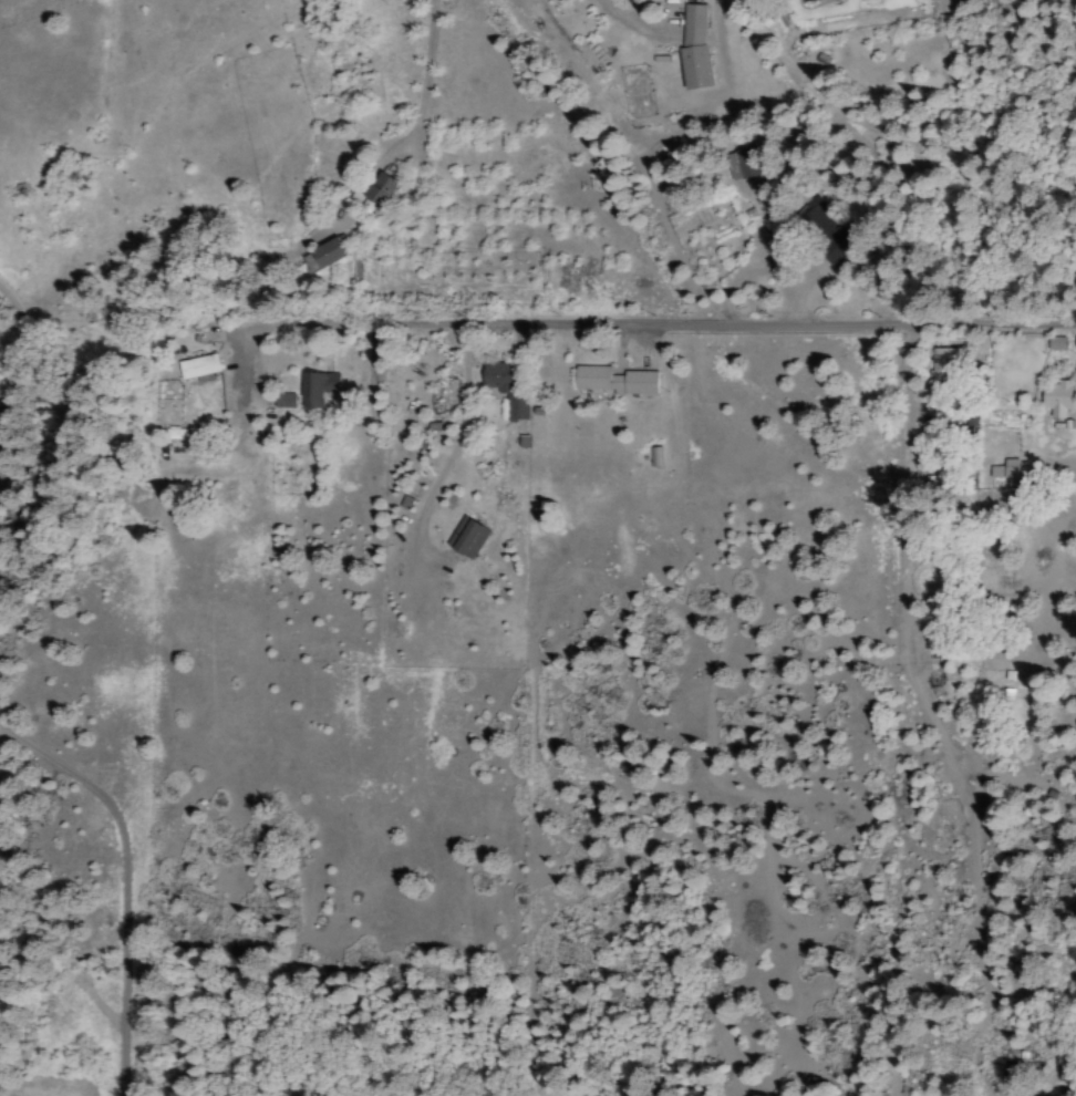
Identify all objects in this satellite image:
building: (805, 0)
building: (693, 45)
building: (739, 165)
building: (380, 188)
building: (824, 231)
building: (329, 251)
road: (711, 318)
building: (198, 368)
building: (614, 381)
building: (504, 387)
building: (315, 389)
building: (1055, 399)
building: (282, 401)
building: (985, 418)
building: (1005, 469)
building: (466, 538)

